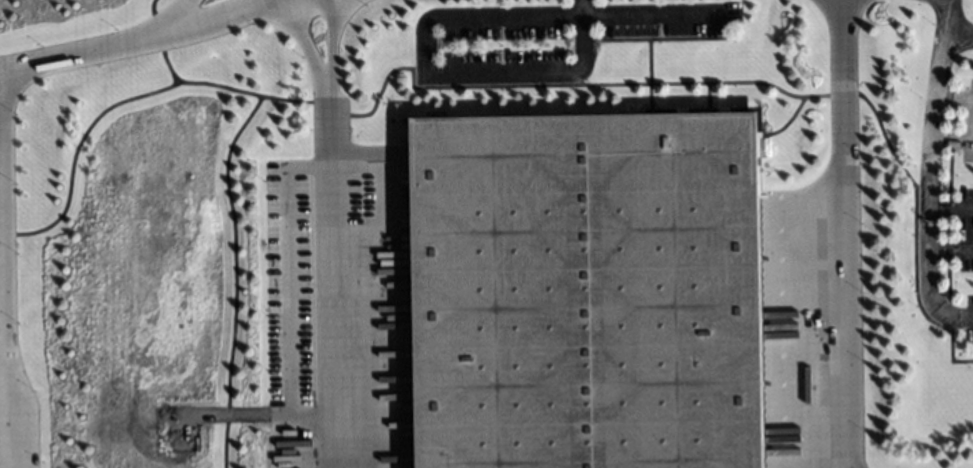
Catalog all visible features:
road: (578, 4)
road: (177, 11)
road: (212, 11)
road: (656, 11)
road: (943, 33)
road: (301, 41)
road: (327, 44)
road: (85, 48)
road: (430, 69)
road: (953, 96)
road: (952, 139)
road: (928, 186)
road: (224, 187)
road: (950, 208)
road: (841, 233)
road: (948, 250)
road: (332, 278)
building: (583, 292)
road: (965, 318)

